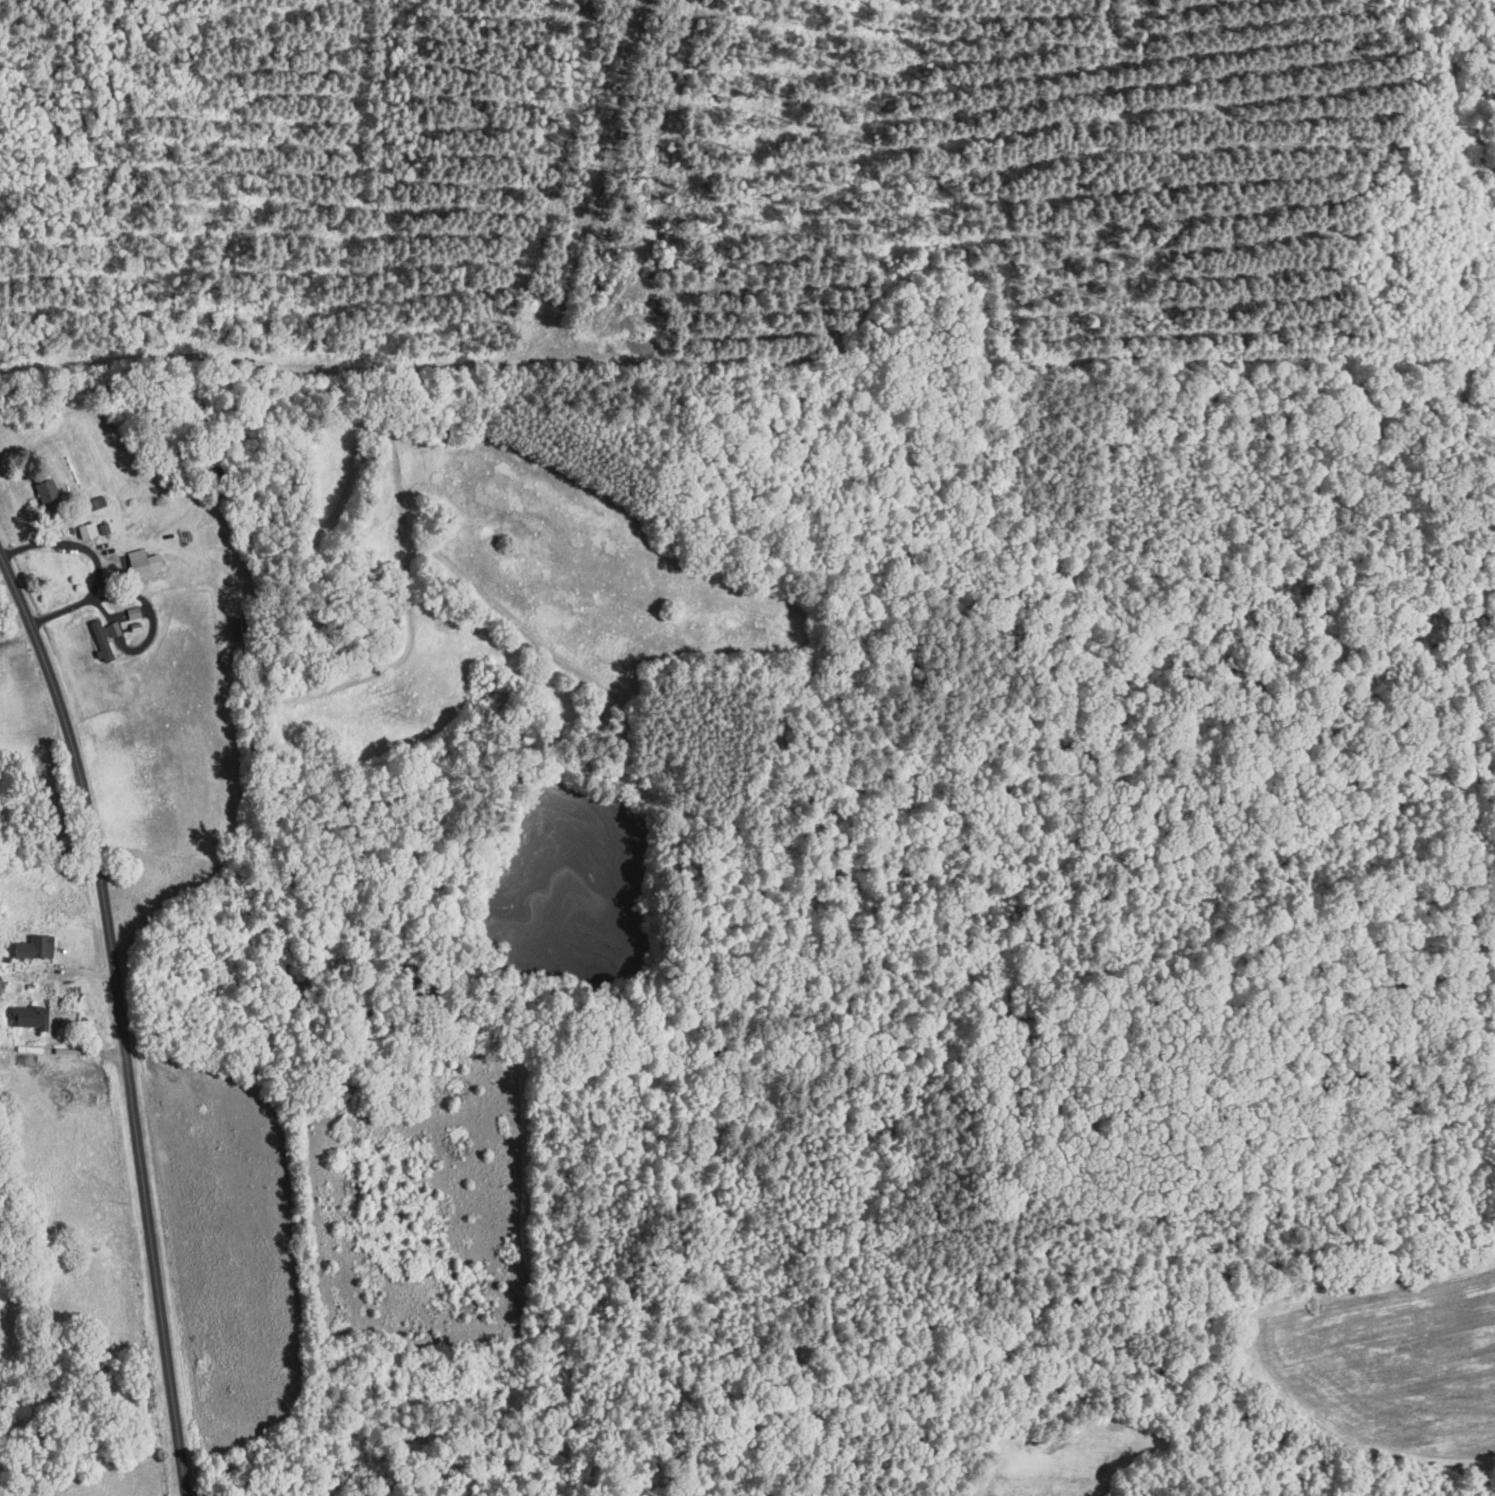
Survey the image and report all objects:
building: (47, 496)
building: (96, 504)
building: (86, 533)
building: (138, 562)
road: (148, 606)
building: (133, 615)
building: (239, 630)
building: (100, 640)
road: (47, 673)
building: (34, 949)
building: (0, 989)
building: (28, 1019)
road: (62, 1052)
road: (136, 1144)
building: (232, 1466)

